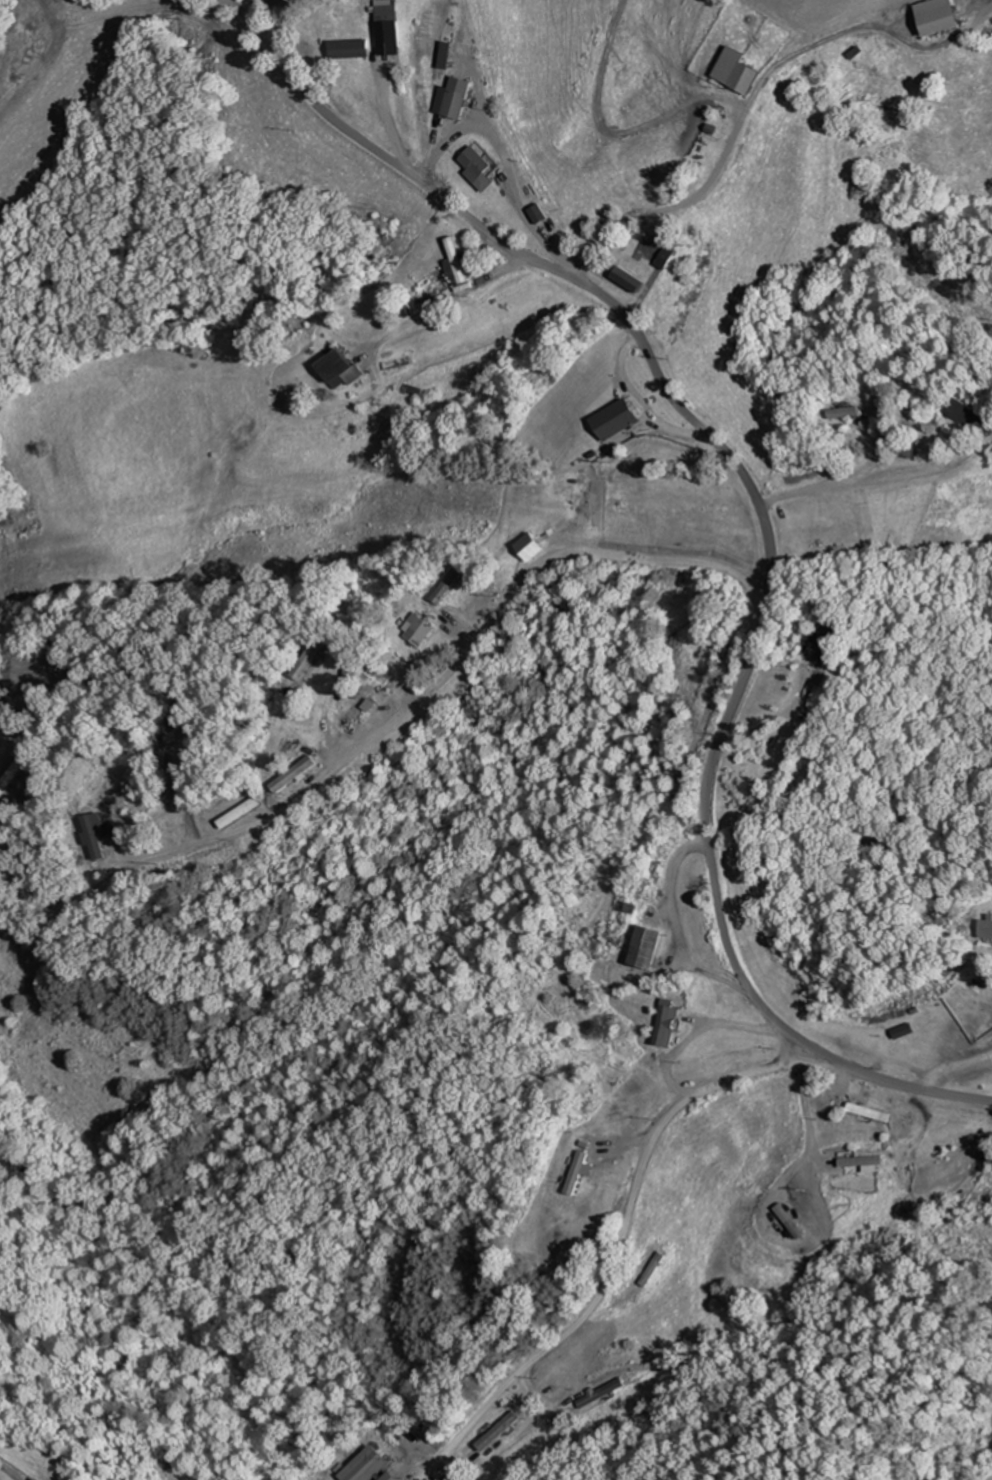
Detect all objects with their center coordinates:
building: (943, 16)
road: (277, 26)
building: (392, 39)
building: (354, 48)
building: (447, 54)
building: (745, 75)
building: (456, 103)
building: (477, 163)
building: (658, 252)
building: (436, 287)
building: (345, 369)
building: (848, 413)
building: (972, 416)
building: (620, 419)
road: (763, 516)
building: (454, 582)
building: (420, 630)
building: (828, 637)
building: (314, 660)
road: (445, 679)
building: (356, 711)
building: (296, 774)
building: (100, 837)
building: (653, 879)
building: (989, 927)
building: (651, 948)
building: (665, 1023)
building: (913, 1028)
road: (952, 1066)
building: (837, 1097)
building: (953, 1128)
building: (865, 1163)
building: (579, 1173)
road: (625, 1231)
building: (602, 1394)
building: (500, 1433)
building: (370, 1464)
building: (42, 1479)

